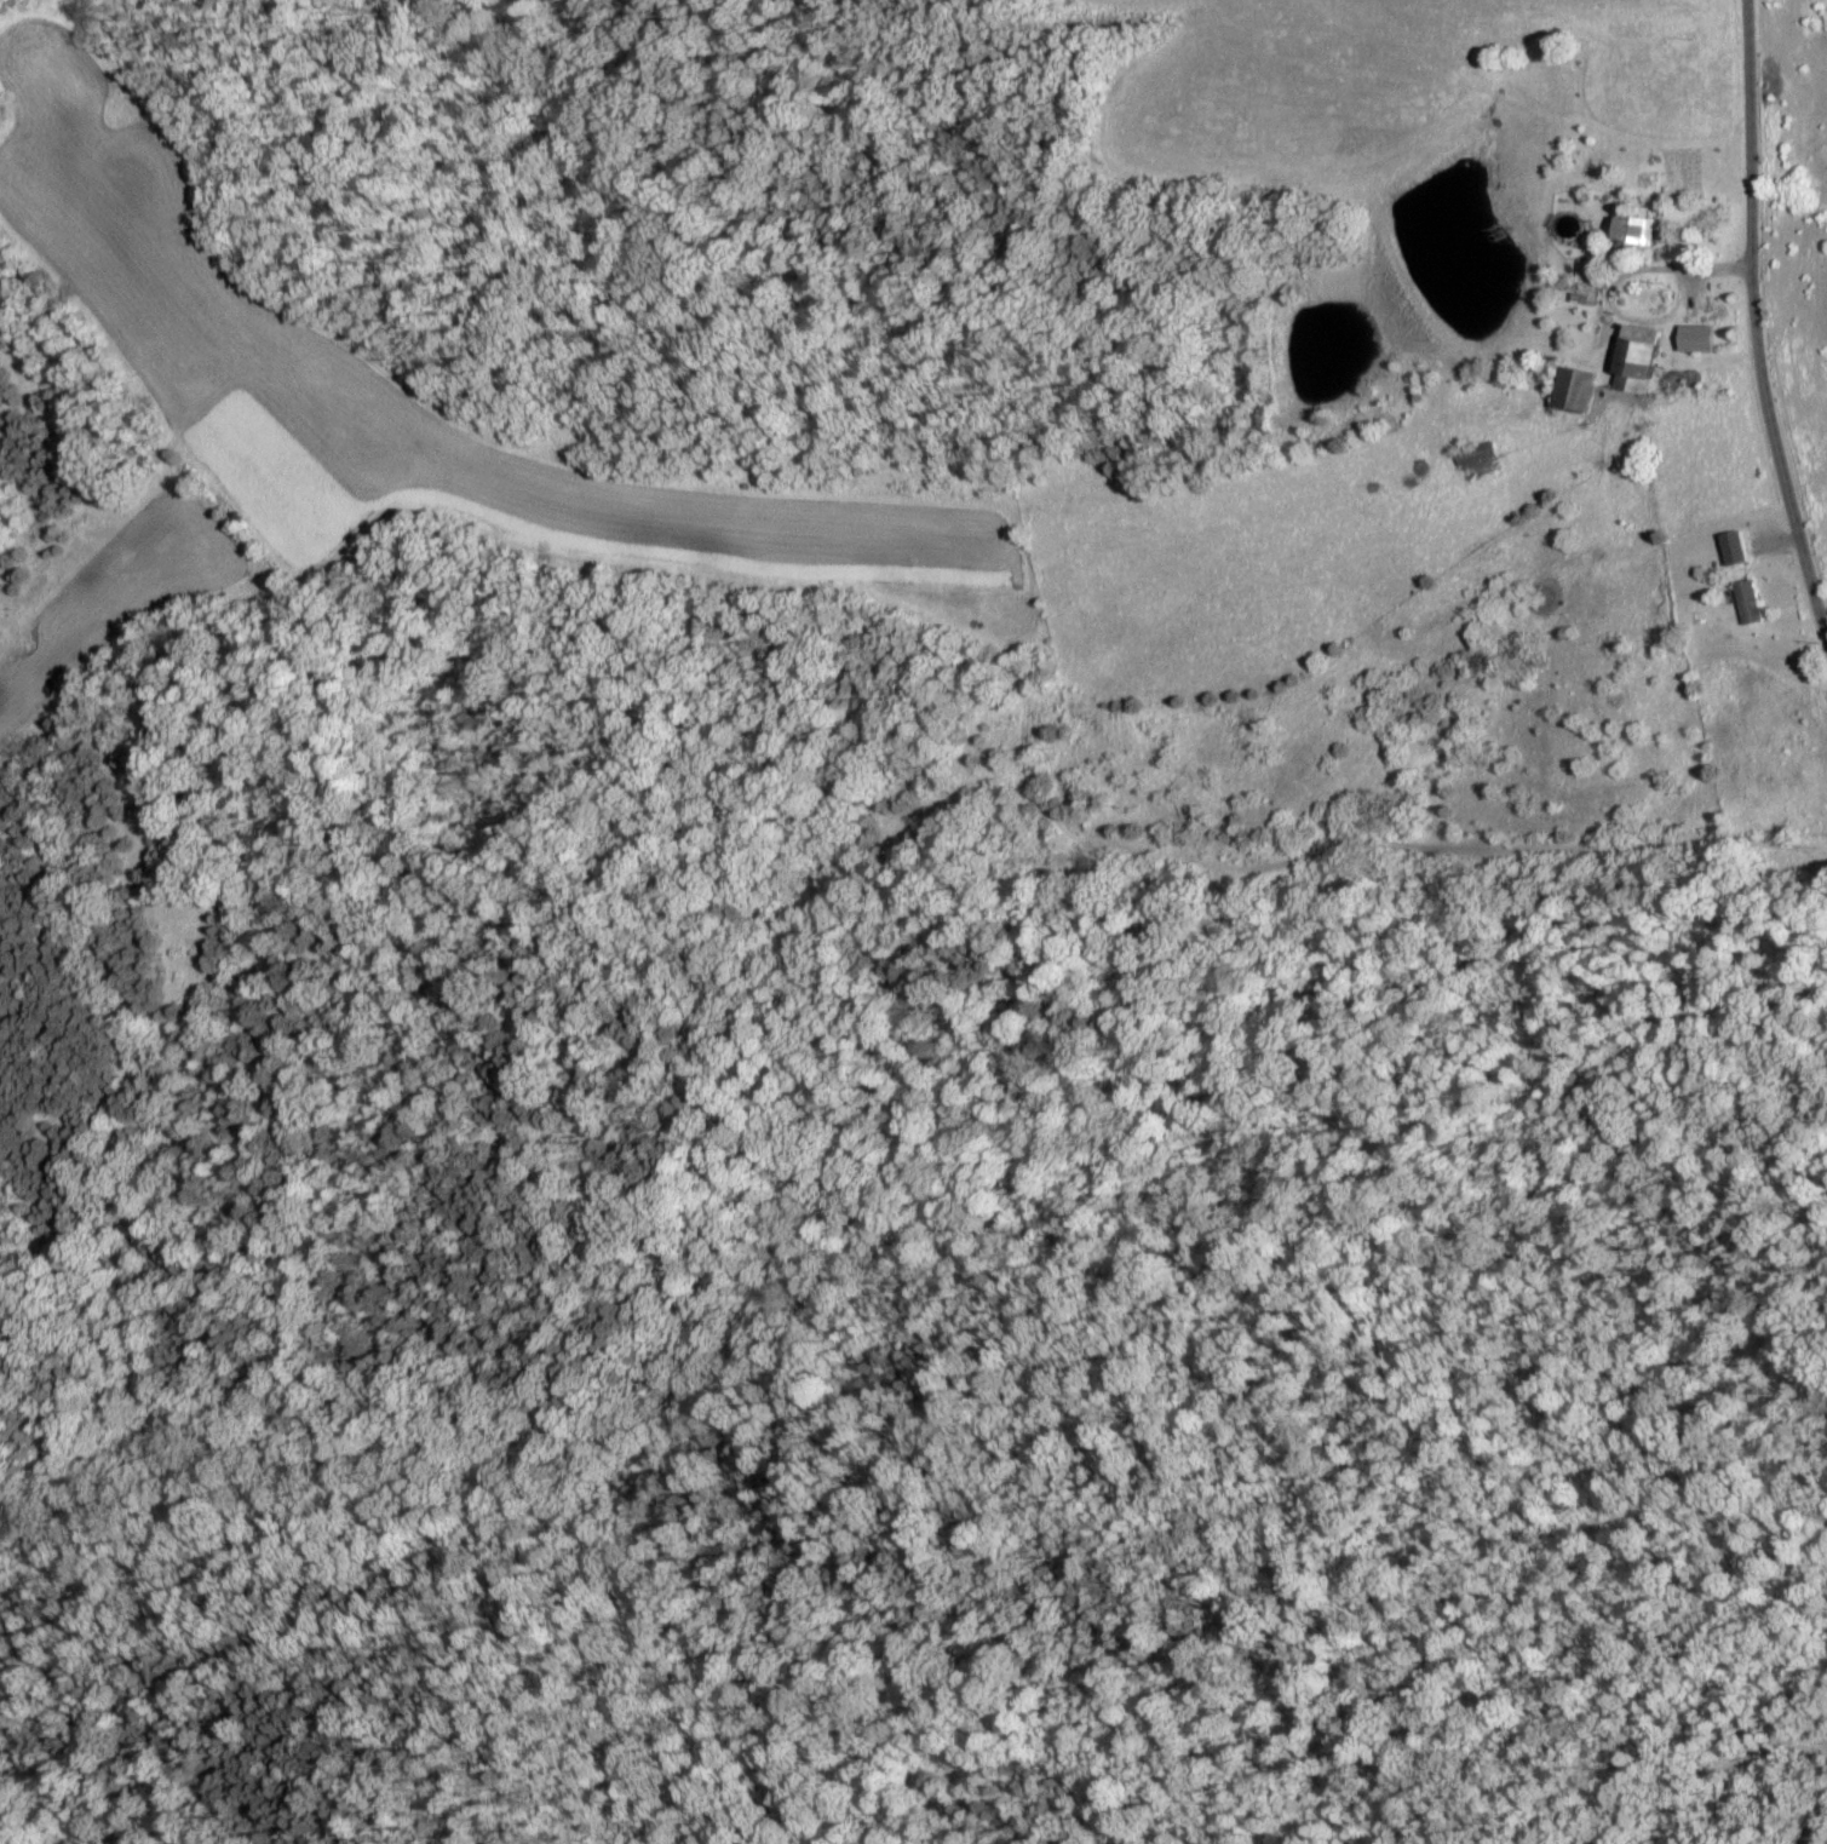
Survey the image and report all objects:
building: (1634, 230)
road: (1756, 320)
building: (1697, 340)
building: (1637, 361)
building: (1575, 391)
building: (1734, 550)
building: (1748, 603)
road: (1812, 1827)

